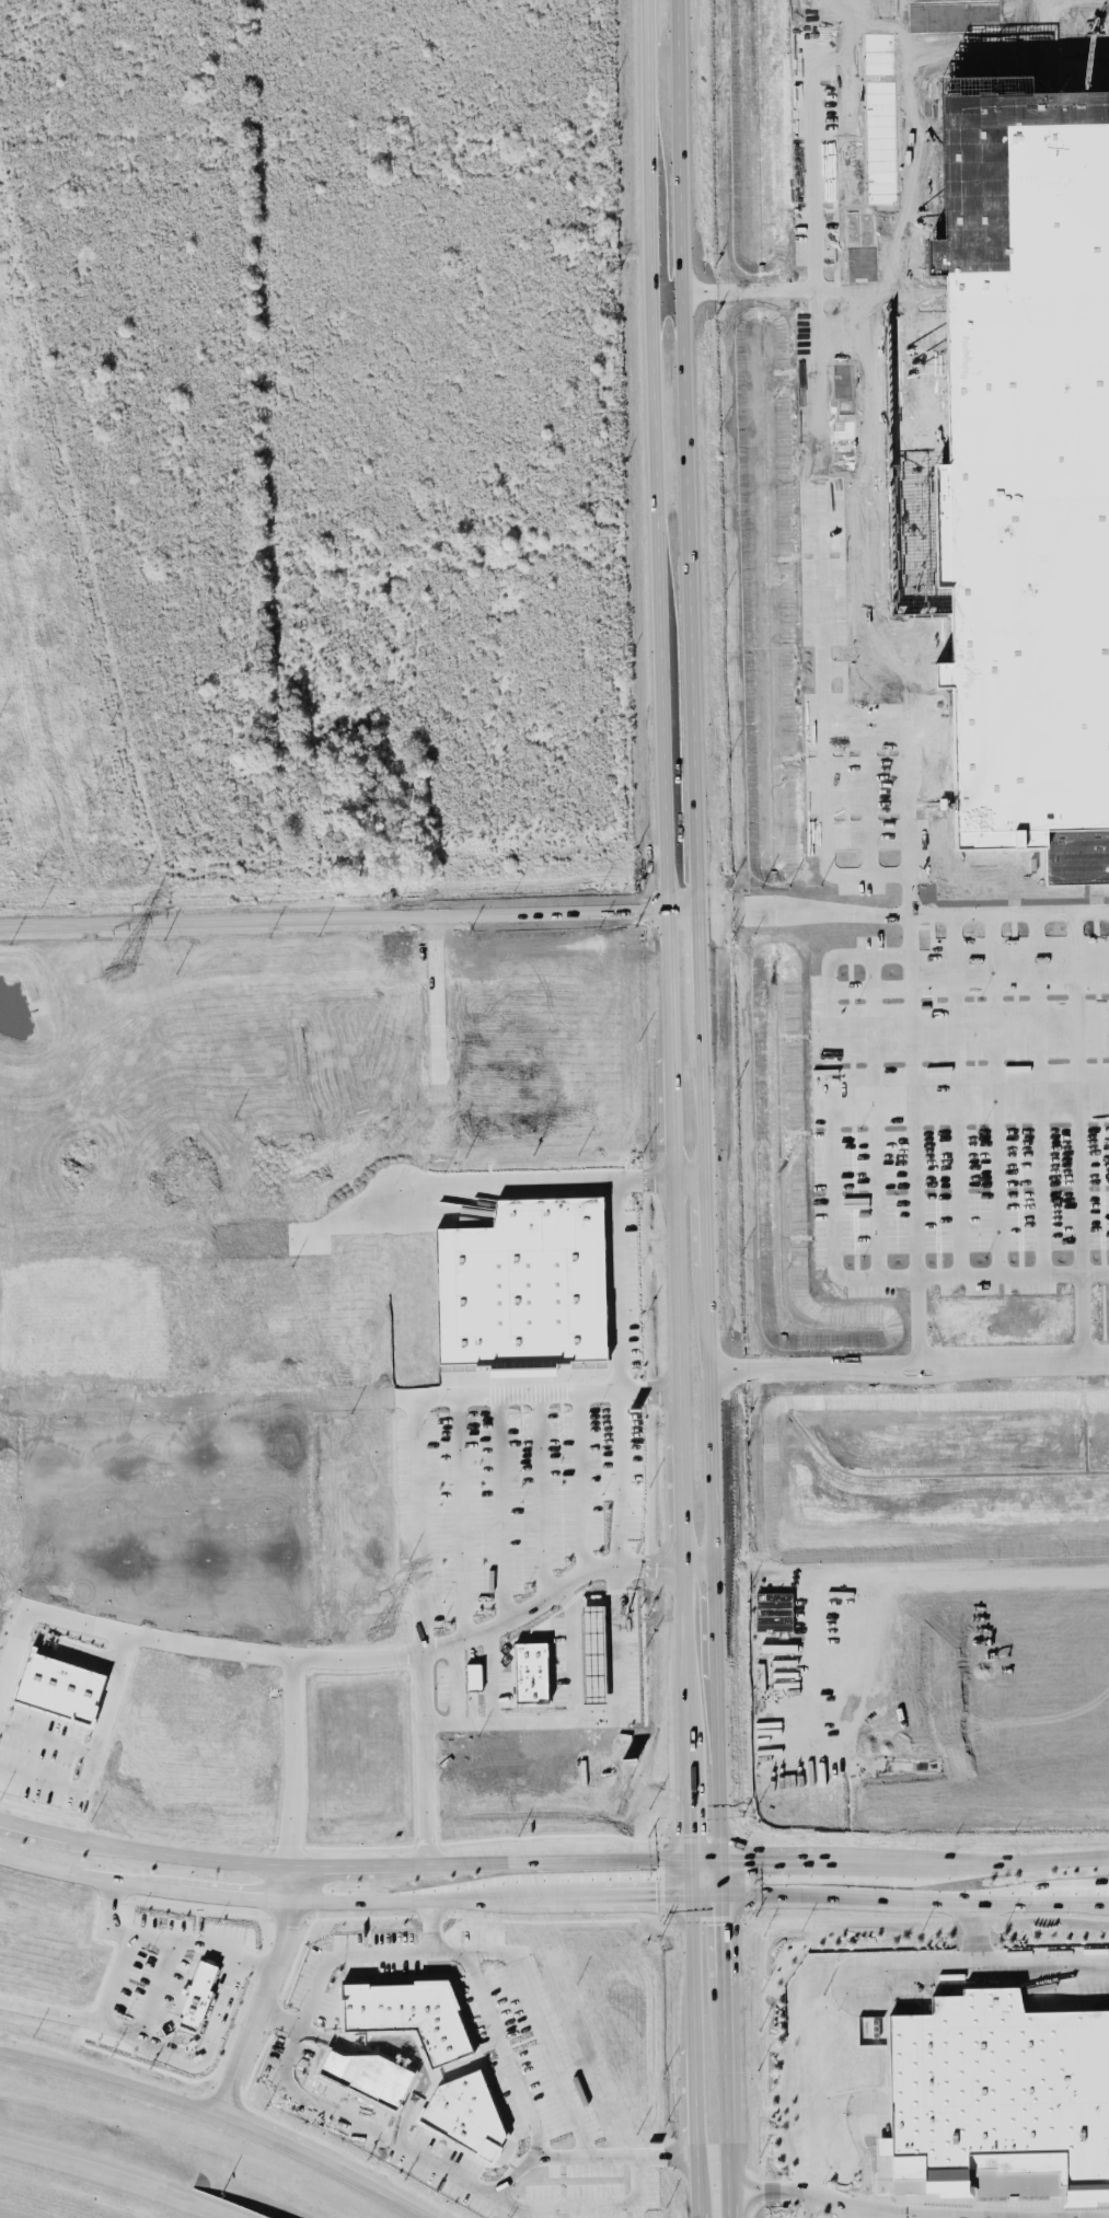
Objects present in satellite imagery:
road: (855, 145)
road: (815, 211)
road: (859, 438)
building: (1028, 451)
road: (686, 454)
road: (842, 667)
road: (662, 694)
road: (820, 721)
road: (865, 771)
road: (348, 915)
road: (700, 960)
power tower: (116, 972)
road: (911, 1036)
road: (1038, 1090)
road: (1077, 1090)
road: (995, 1091)
road: (956, 1093)
road: (874, 1114)
road: (690, 1176)
road: (508, 1185)
road: (831, 1210)
road: (619, 1283)
building: (523, 1285)
road: (707, 1286)
road: (1082, 1315)
road: (909, 1366)
road: (414, 1425)
road: (620, 1476)
road: (682, 1476)
road: (580, 1483)
road: (542, 1493)
road: (846, 1498)
road: (500, 1504)
road: (460, 1515)
road: (698, 1562)
road: (651, 1563)
road: (774, 1564)
road: (971, 1568)
road: (593, 1597)
building: (773, 1610)
road: (685, 1613)
road: (63, 1617)
road: (575, 1621)
road: (591, 1621)
road: (611, 1621)
road: (715, 1621)
power tower: (376, 1631)
road: (611, 1642)
road: (575, 1643)
road: (592, 1643)
road: (13, 1651)
road: (569, 1653)
road: (428, 1654)
road: (89, 1655)
road: (591, 1665)
road: (611, 1665)
road: (576, 1666)
road: (494, 1673)
road: (116, 1674)
road: (454, 1684)
road: (576, 1685)
road: (592, 1686)
road: (611, 1686)
building: (60, 1687)
road: (291, 1694)
road: (686, 1694)
road: (599, 1721)
road: (46, 1735)
road: (718, 1768)
road: (689, 1791)
traffic signals: (691, 1833)
road: (705, 1857)
traffic signals: (754, 1858)
road: (830, 1858)
road: (1024, 1859)
road: (343, 1863)
road: (720, 1873)
road: (706, 1891)
road: (647, 1892)
traffic signals: (656, 1892)
road: (299, 1897)
road: (914, 1897)
traffic signals: (721, 1924)
road: (973, 1932)
road: (169, 1938)
road: (692, 1950)
road: (340, 1953)
road: (721, 1963)
road: (983, 1964)
building: (195, 1988)
road: (265, 1991)
building: (408, 2014)
road: (95, 2021)
road: (198, 2051)
road: (505, 2054)
road: (547, 2066)
road: (867, 2092)
building: (1000, 2098)
road: (695, 2099)
road: (725, 2111)
building: (465, 2113)
road: (220, 2115)
road: (400, 2151)
road: (117, 2176)
road: (697, 2184)
road: (725, 2203)
road: (582, 2204)
road: (807, 2206)
parking lot: (817, 2210)
road: (847, 2211)
road: (915, 2213)
road: (8, 2215)
road: (700, 2215)
road: (883, 2215)
road: (926, 2216)
road: (963, 2217)
road: (998, 2217)
road: (1038, 2217)
road: (1086, 2217)

